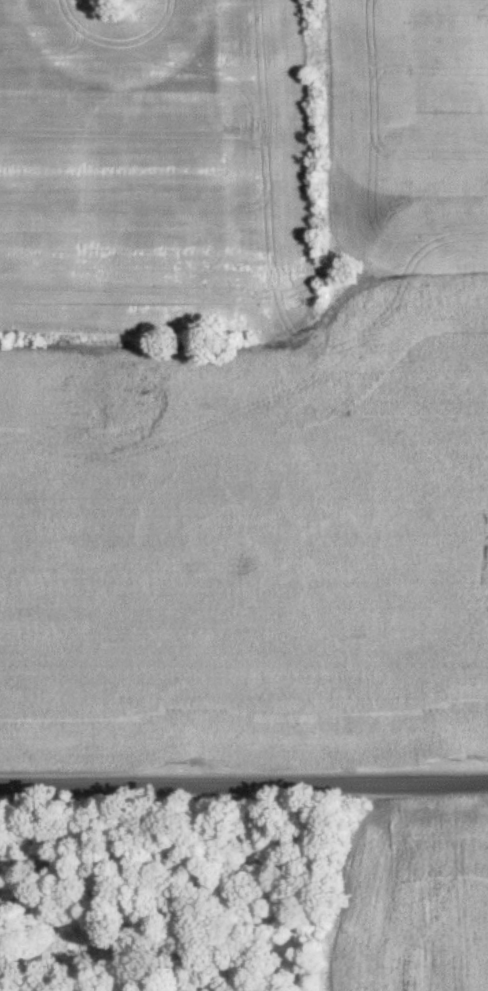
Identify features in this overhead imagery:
road: (243, 781)

